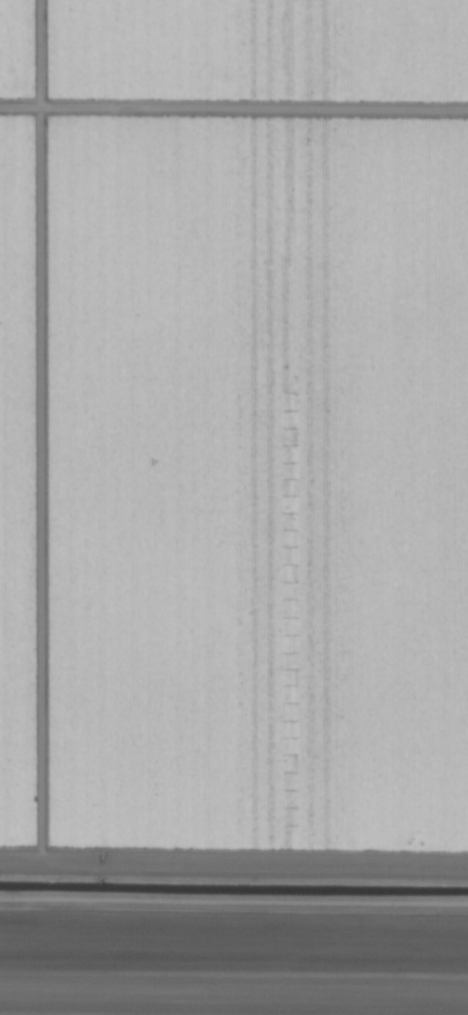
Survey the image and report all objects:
crop: (234, 507)

